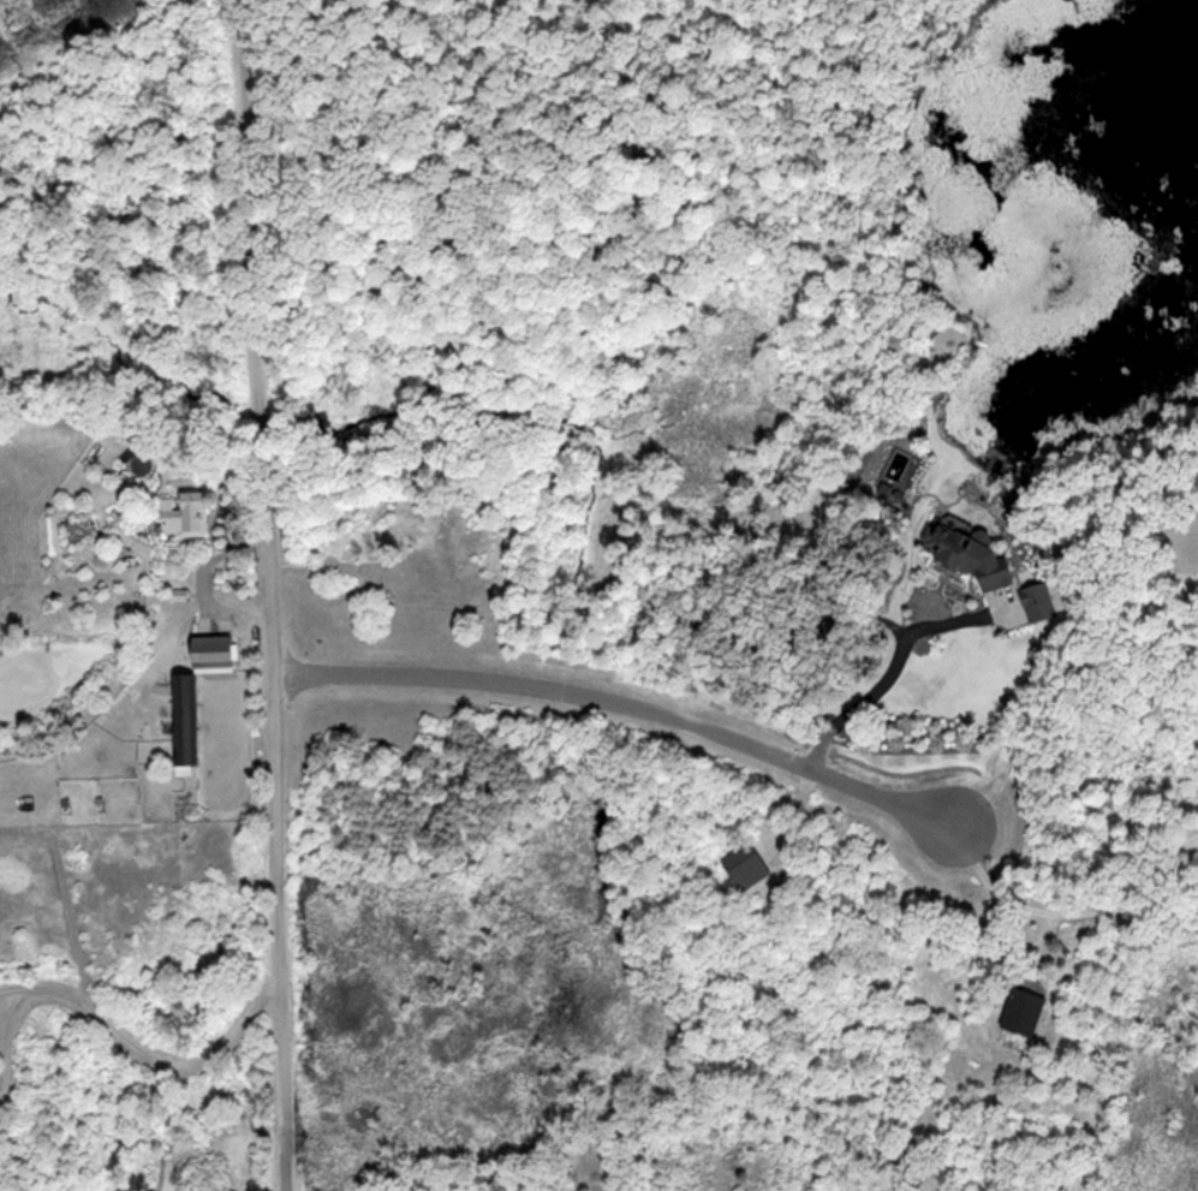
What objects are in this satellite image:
building: (187, 513)
building: (975, 549)
road: (273, 595)
building: (1039, 601)
building: (220, 649)
road: (887, 678)
road: (627, 708)
building: (187, 722)
road: (1072, 909)
road: (17, 987)
building: (1030, 1011)
road: (5, 1034)
road: (166, 1061)

